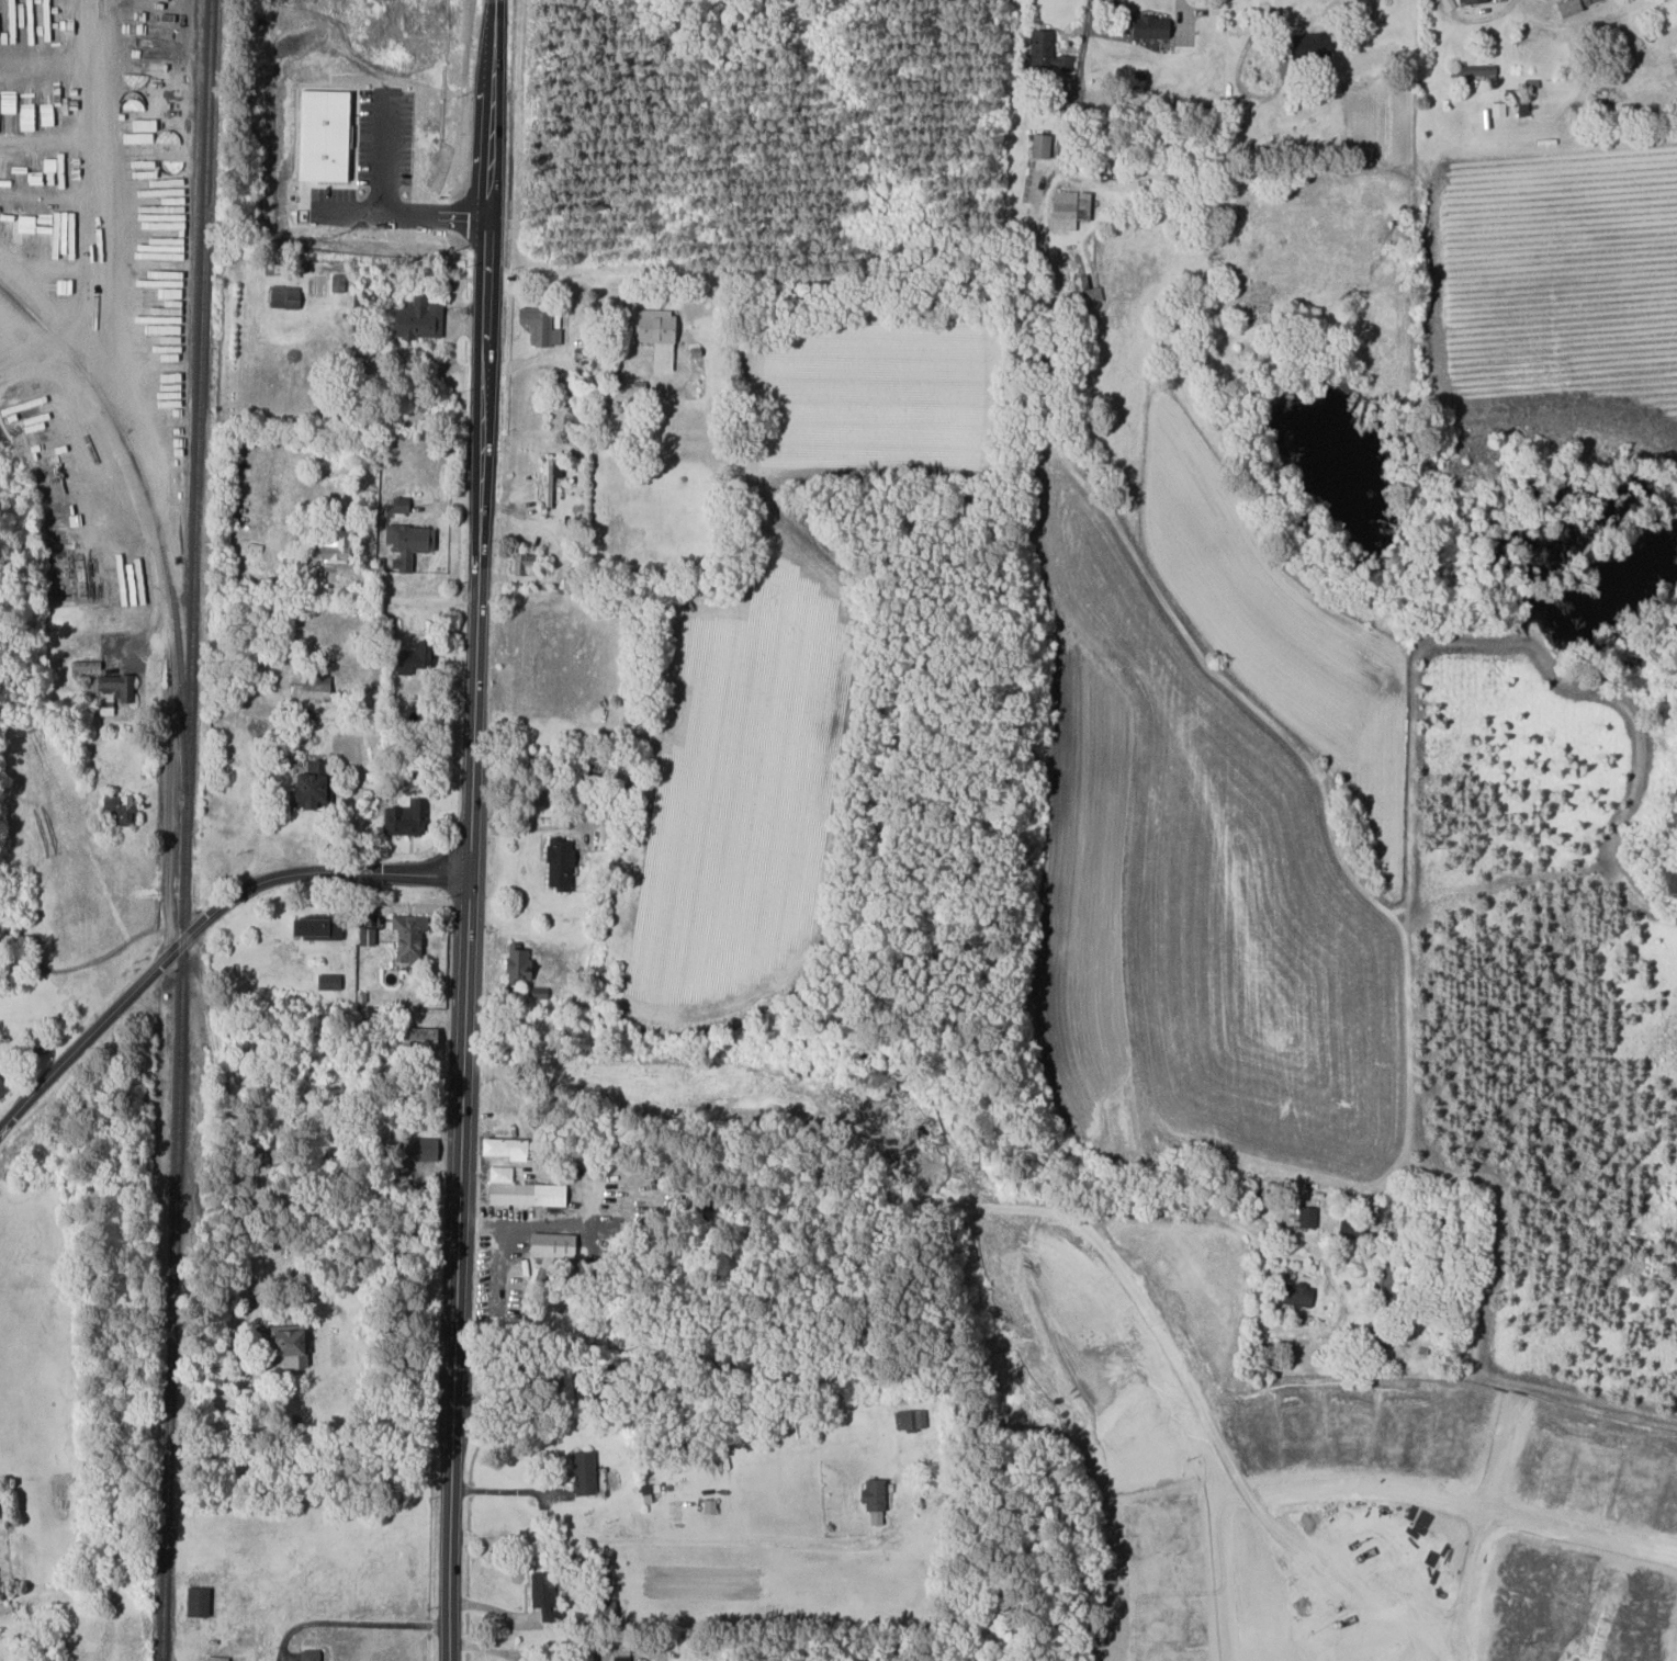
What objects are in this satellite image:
building: (1470, 1)
building: (1567, 7)
road: (1472, 19)
building: (1151, 29)
building: (1307, 46)
building: (1047, 53)
building: (1040, 145)
road: (1218, 154)
road: (406, 204)
building: (1069, 207)
road: (768, 276)
building: (284, 296)
building: (417, 318)
building: (540, 328)
building: (655, 335)
road: (55, 352)
road: (138, 476)
building: (549, 481)
railway: (153, 513)
building: (409, 545)
building: (334, 546)
building: (521, 563)
road: (398, 588)
road: (1150, 610)
building: (413, 657)
building: (312, 686)
building: (311, 784)
building: (117, 807)
road: (357, 813)
building: (404, 815)
railway: (189, 830)
road: (470, 830)
building: (561, 862)
building: (316, 927)
road: (199, 929)
building: (408, 934)
building: (367, 936)
building: (517, 962)
road: (632, 1027)
building: (417, 1038)
building: (505, 1148)
building: (418, 1149)
building: (521, 1189)
road: (983, 1209)
road: (1179, 1212)
building: (1307, 1217)
building: (551, 1244)
road: (334, 1263)
building: (1384, 1278)
building: (1296, 1295)
building: (286, 1343)
building: (584, 1471)
road: (503, 1490)
building: (874, 1500)
road: (1460, 1506)
road: (1481, 1528)
road: (656, 1539)
building: (603, 1592)
building: (544, 1595)
building: (198, 1601)
building: (5, 1612)
road: (352, 1623)
road: (484, 1648)
building: (309, 1654)
building: (621, 1657)
building: (215, 1658)

